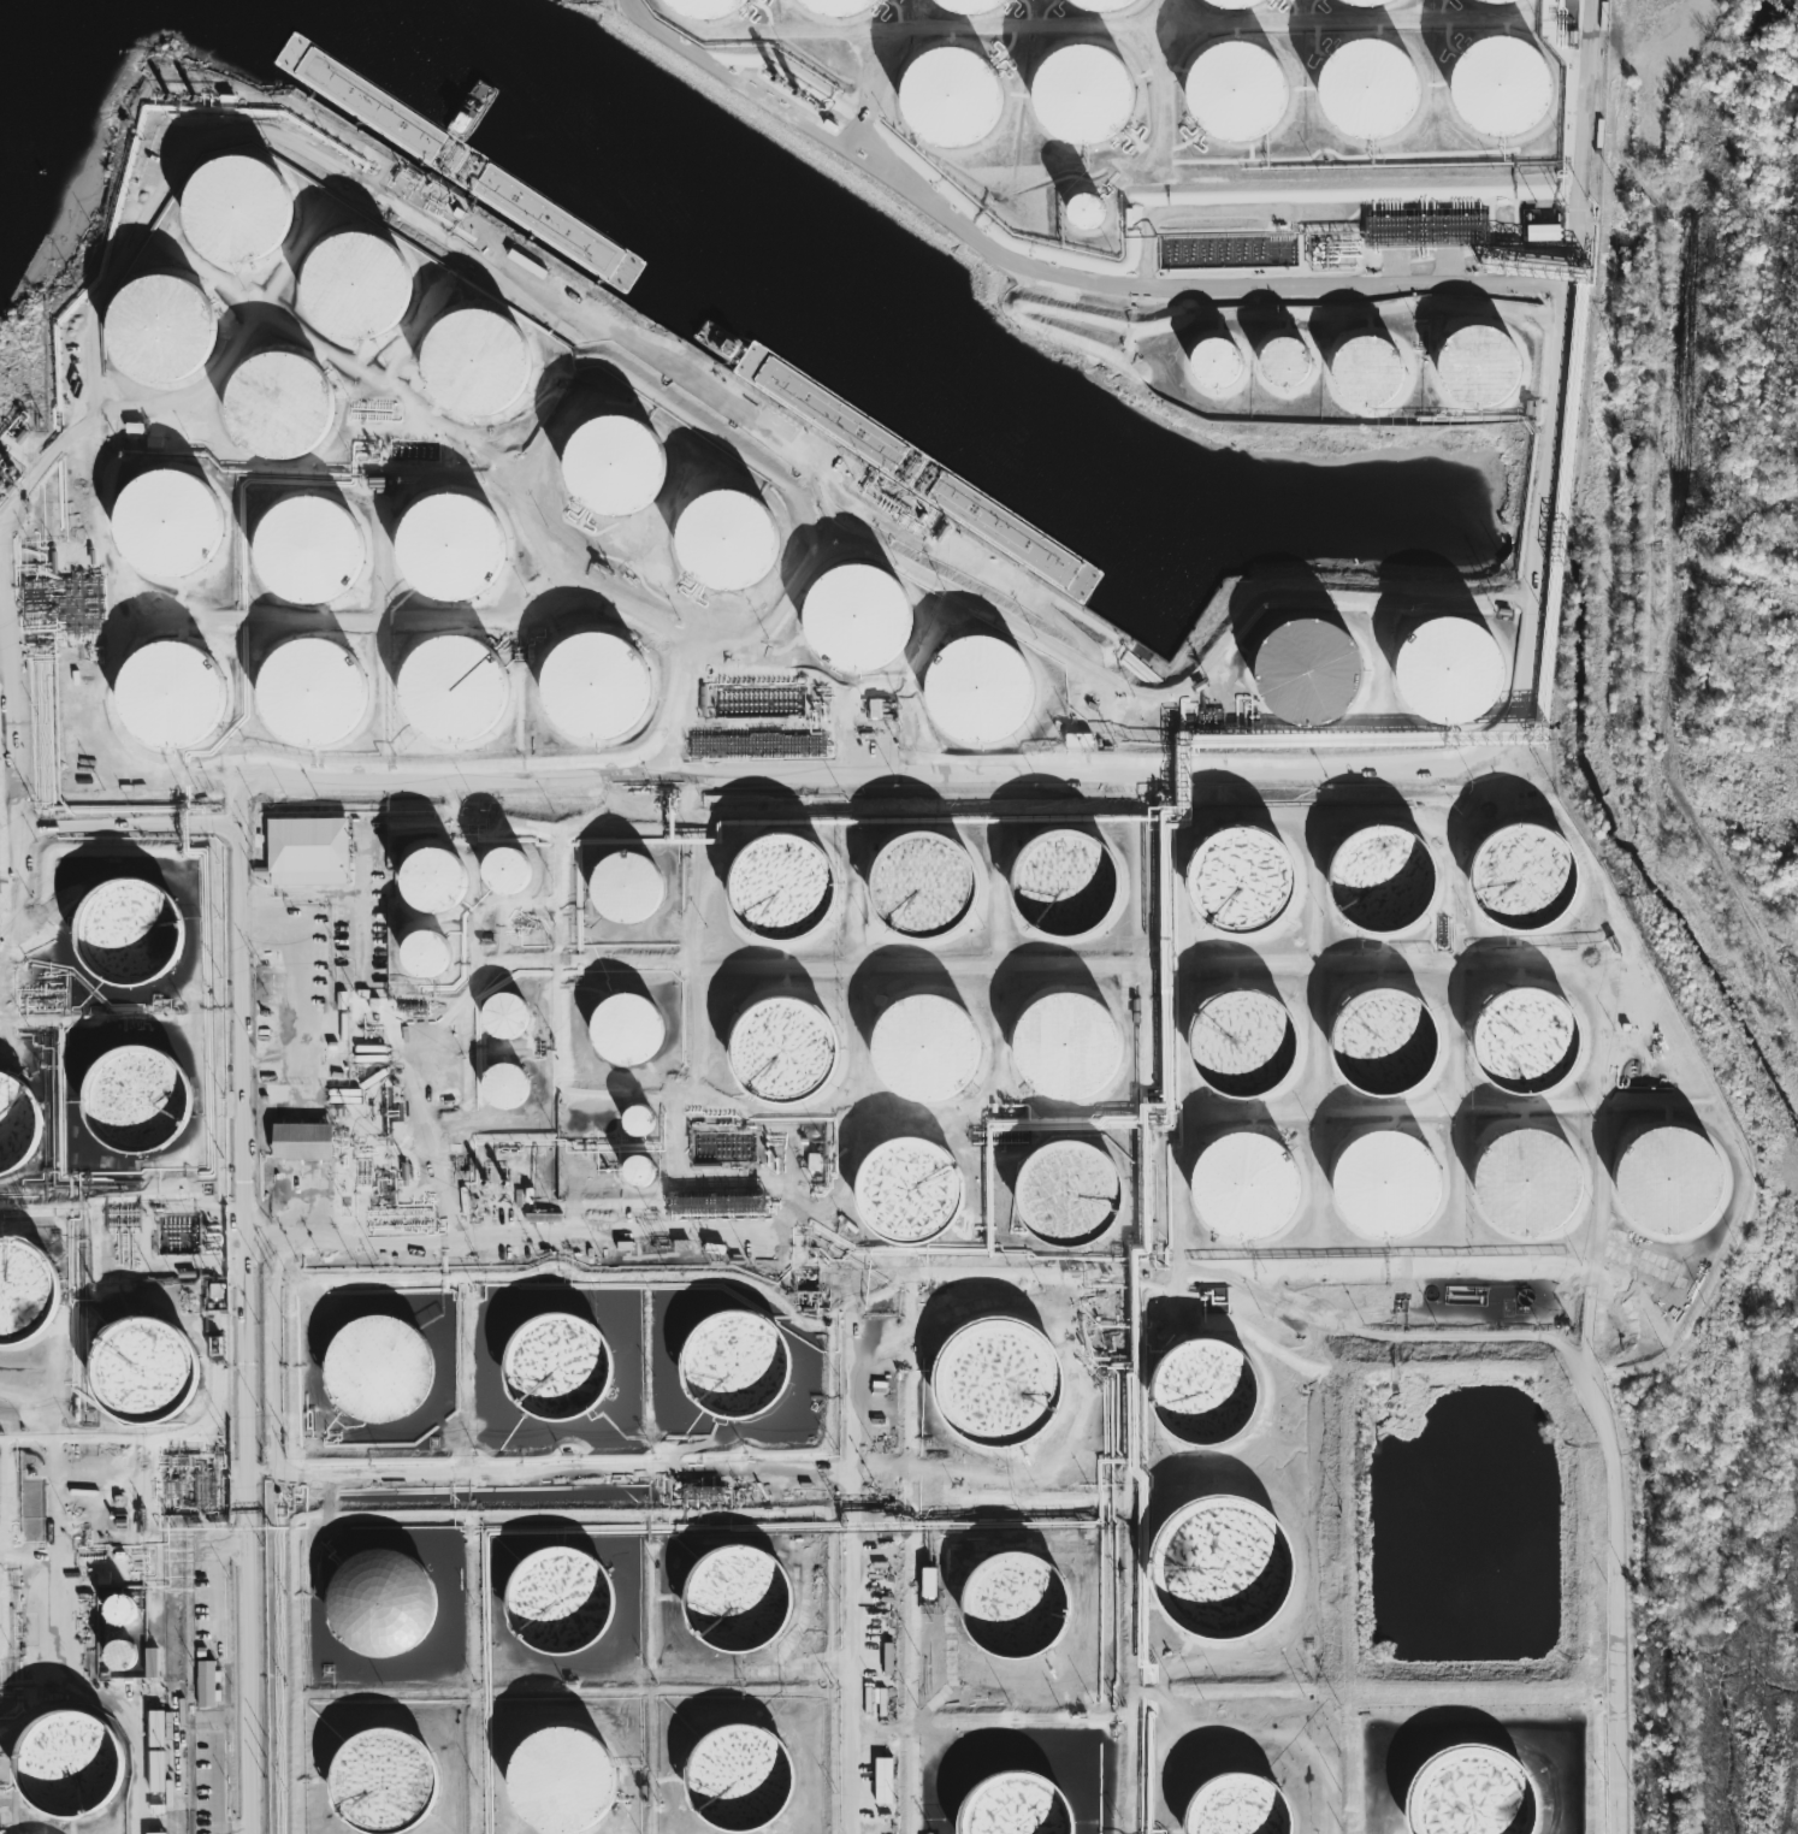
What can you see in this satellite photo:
building: (1495, 2)
storage tank: (1495, 2)
building: (1364, 4)
storage tank: (1364, 4)
building: (1236, 5)
storage tank: (1236, 5)
building: (969, 7)
storage tank: (969, 7)
building: (1100, 7)
storage tank: (1100, 7)
building: (835, 8)
storage tank: (835, 8)
building: (700, 10)
storage tank: (700, 10)
building: (1500, 91)
storage tank: (1500, 91)
building: (1367, 93)
storage tank: (1367, 93)
building: (1238, 94)
storage tank: (1238, 94)
building: (357, 97)
building: (1082, 99)
storage tank: (1082, 99)
building: (947, 103)
storage tank: (947, 103)
road: (320, 158)
building: (232, 214)
storage tank: (232, 214)
building: (1086, 214)
storage tank: (1086, 214)
building: (1545, 232)
road: (1059, 274)
building: (356, 292)
storage tank: (356, 292)
building: (161, 332)
storage tank: (161, 332)
building: (1283, 365)
storage tank: (1283, 365)
building: (1216, 366)
storage tank: (1216, 366)
building: (475, 368)
storage tank: (475, 368)
building: (1474, 371)
storage tank: (1474, 371)
building: (1364, 374)
storage tank: (1364, 374)
building: (276, 412)
storage tank: (276, 412)
building: (135, 427)
building: (614, 468)
storage tank: (614, 468)
building: (170, 527)
storage tank: (170, 527)
road: (888, 538)
building: (728, 545)
storage tank: (728, 545)
building: (445, 551)
storage tank: (445, 551)
building: (307, 554)
storage tank: (307, 554)
building: (856, 620)
storage tank: (856, 620)
building: (1447, 675)
storage tank: (1447, 675)
building: (1308, 678)
storage tank: (1308, 678)
building: (595, 687)
storage tank: (595, 687)
building: (451, 693)
storage tank: (451, 693)
building: (309, 696)
storage tank: (309, 696)
building: (981, 696)
storage tank: (981, 696)
building: (168, 698)
storage tank: (168, 698)
building: (876, 709)
road: (1266, 771)
road: (53, 777)
building: (303, 858)
building: (504, 876)
storage tank: (504, 876)
building: (433, 883)
storage tank: (433, 883)
building: (1238, 883)
storage tank: (1238, 883)
building: (1382, 883)
storage tank: (1382, 883)
building: (1522, 883)
storage tank: (1522, 883)
building: (1065, 887)
storage tank: (1065, 887)
building: (783, 891)
storage tank: (783, 891)
building: (924, 891)
storage tank: (924, 891)
building: (625, 892)
storage tank: (625, 892)
building: (129, 936)
storage tank: (129, 936)
building: (424, 956)
storage tank: (424, 956)
building: (503, 1019)
storage tank: (503, 1019)
building: (626, 1031)
storage tank: (626, 1031)
building: (1383, 1045)
storage tank: (1383, 1045)
building: (1522, 1045)
storage tank: (1522, 1045)
building: (1065, 1049)
storage tank: (1065, 1049)
building: (1243, 1049)
storage tank: (1243, 1049)
building: (924, 1053)
storage tank: (924, 1053)
building: (783, 1055)
storage tank: (783, 1055)
building: (502, 1089)
storage tank: (502, 1089)
building: (136, 1105)
storage tank: (136, 1105)
building: (635, 1125)
storage tank: (635, 1125)
building: (16, 1128)
storage tank: (16, 1128)
building: (297, 1147)
building: (638, 1176)
storage tank: (638, 1176)
building: (1668, 1185)
storage tank: (1668, 1185)
building: (1527, 1187)
storage tank: (1527, 1187)
road: (252, 1188)
building: (1385, 1188)
storage tank: (1385, 1188)
building: (1244, 1191)
storage tank: (1244, 1191)
building: (907, 1195)
storage tank: (907, 1195)
building: (1066, 1196)
storage tank: (1066, 1196)
road: (1183, 1272)
building: (23, 1296)
storage tank: (23, 1296)
building: (217, 1344)
building: (555, 1367)
storage tank: (555, 1367)
building: (733, 1367)
storage tank: (733, 1367)
building: (144, 1373)
storage tank: (144, 1373)
building: (378, 1374)
storage tank: (378, 1374)
building: (993, 1388)
building: (1203, 1396)
storage tank: (1203, 1396)
road: (557, 1477)
road: (860, 1543)
building: (1219, 1572)
storage tank: (1219, 1572)
road: (906, 1597)
building: (735, 1601)
storage tank: (735, 1601)
building: (558, 1607)
storage tank: (558, 1607)
building: (1013, 1608)
storage tank: (1013, 1608)
building: (379, 1609)
storage tank: (379, 1609)
building: (120, 1613)
storage tank: (120, 1613)
building: (122, 1656)
storage tank: (122, 1656)
building: (150, 1662)
road: (224, 1670)
building: (206, 1684)
building: (156, 1727)
building: (65, 1768)
storage tank: (65, 1768)
building: (156, 1770)
building: (885, 1780)
building: (737, 1783)
storage tank: (737, 1783)
building: (561, 1785)
storage tank: (561, 1785)
building: (382, 1786)
storage tank: (382, 1786)
building: (1467, 1797)
storage tank: (1467, 1797)
building: (1017, 1810)
storage tank: (1017, 1810)
building: (1237, 1810)
storage tank: (1237, 1810)
building: (156, 1833)

